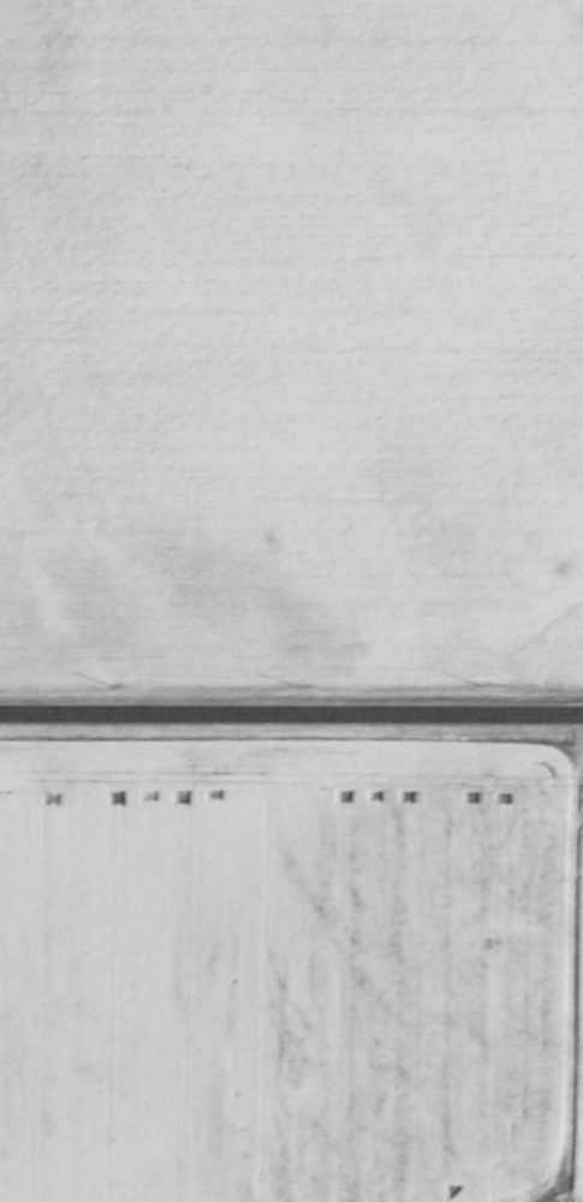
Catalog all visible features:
road: (291, 715)

